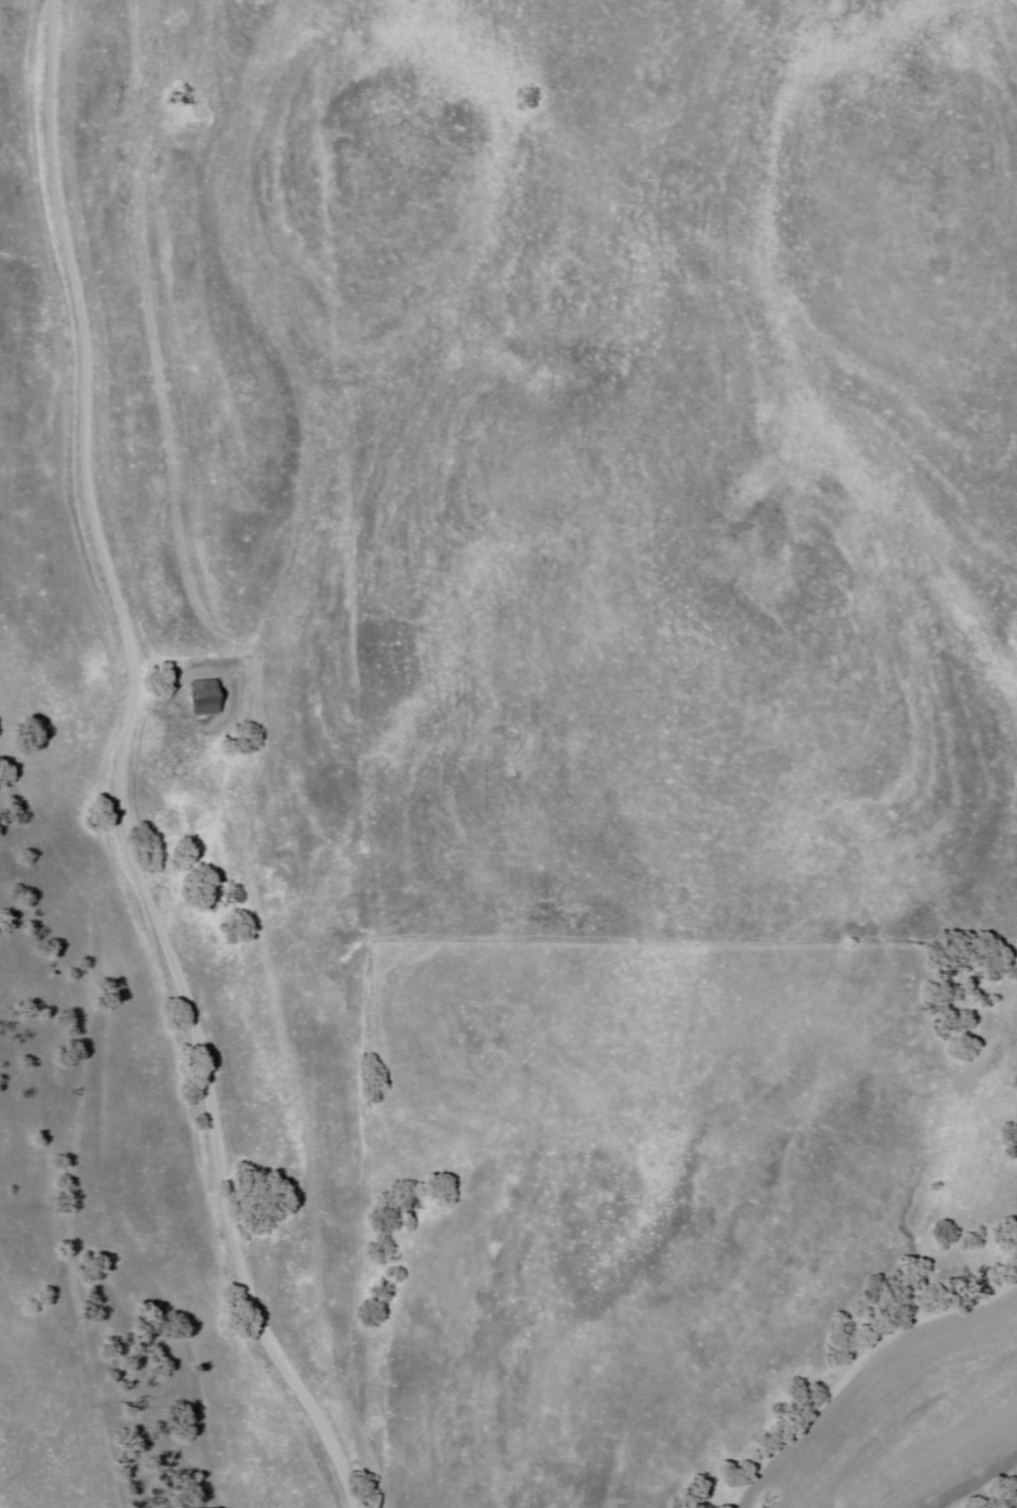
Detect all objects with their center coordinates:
road: (125, 769)
building: (284, 888)
road: (851, 1356)

